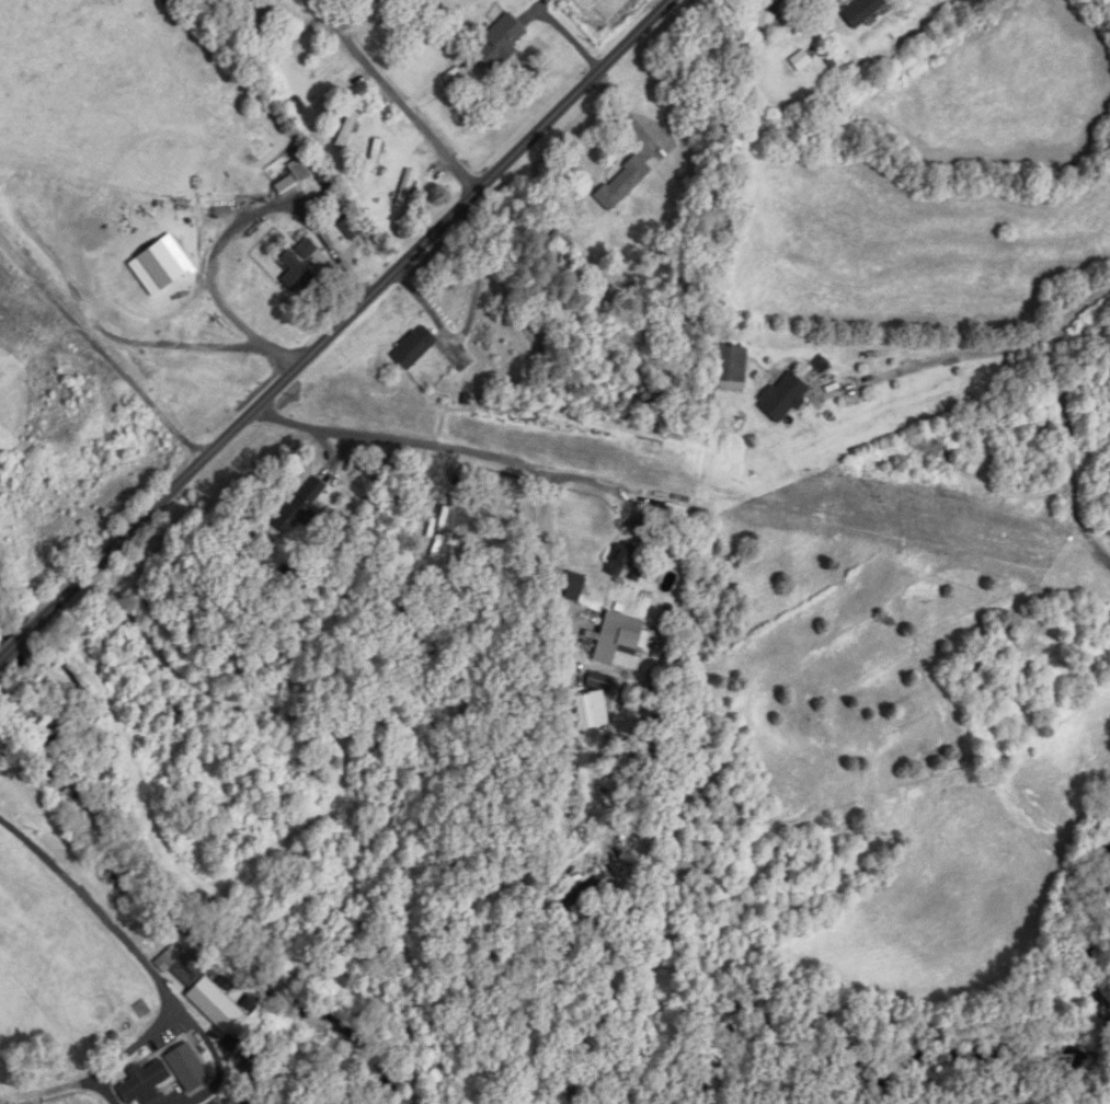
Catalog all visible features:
building: (862, 11)
building: (261, 16)
road: (358, 16)
building: (502, 39)
building: (288, 44)
road: (394, 94)
building: (348, 127)
building: (376, 156)
building: (302, 166)
building: (328, 182)
building: (625, 183)
building: (407, 187)
building: (351, 228)
building: (308, 249)
building: (297, 274)
road: (468, 319)
road: (335, 331)
building: (415, 347)
building: (730, 368)
building: (785, 395)
road: (1067, 418)
building: (579, 444)
road: (412, 445)
building: (646, 460)
building: (301, 505)
road: (550, 559)
building: (575, 582)
building: (620, 640)
building: (603, 681)
building: (585, 890)
road: (105, 910)
building: (142, 1011)
road: (202, 1032)
road: (127, 1050)
building: (188, 1068)
road: (218, 1078)
building: (145, 1083)

